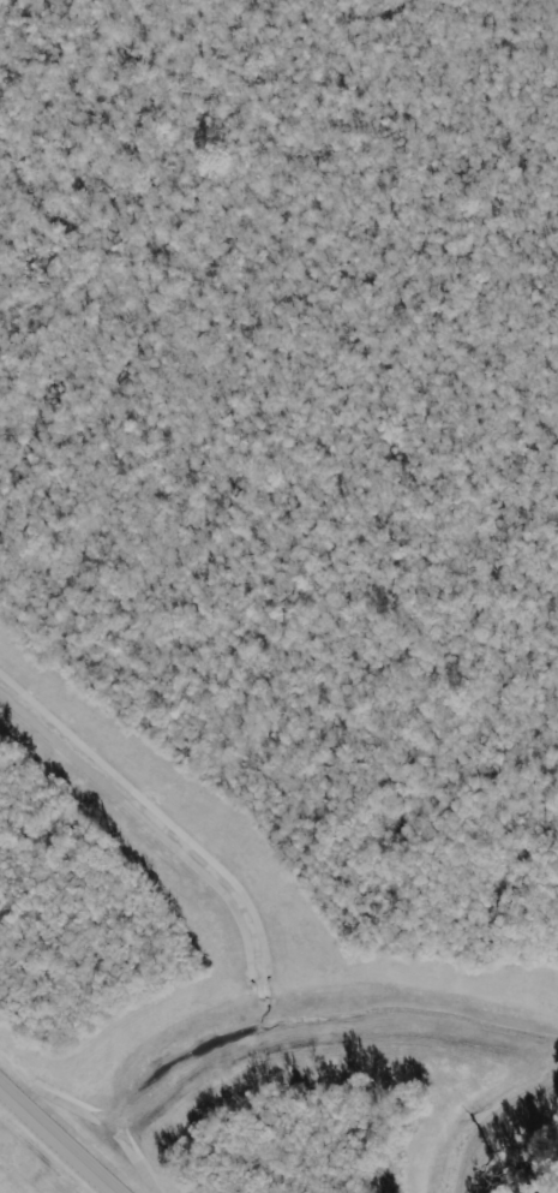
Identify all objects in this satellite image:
road: (54, 1143)

